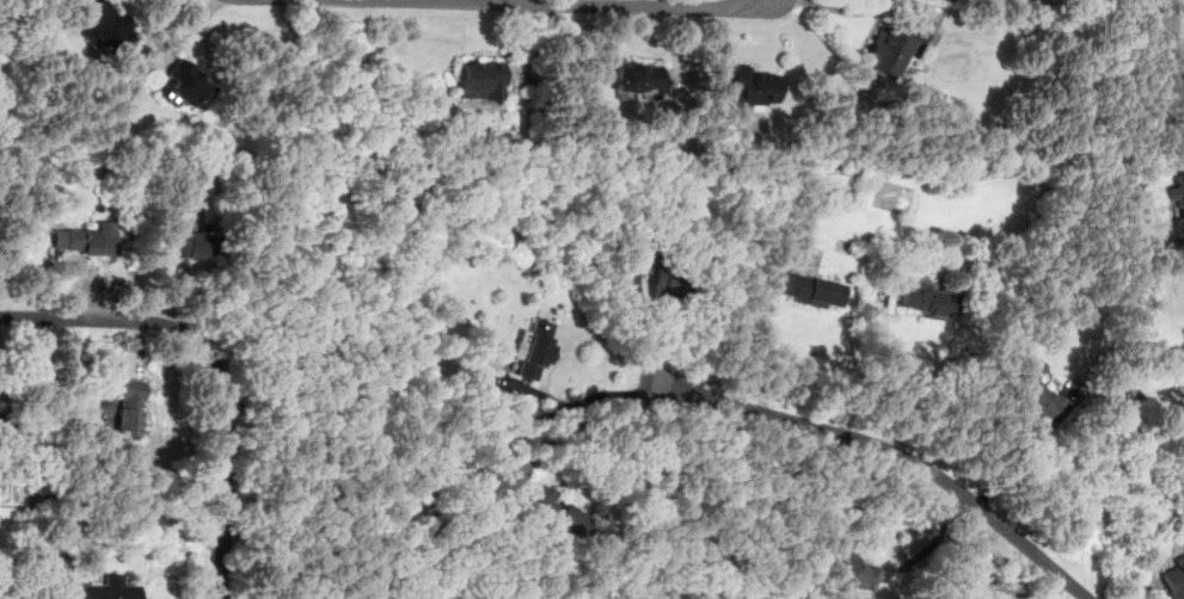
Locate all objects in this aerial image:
road: (566, 4)
road: (848, 10)
building: (103, 25)
building: (892, 47)
building: (637, 76)
building: (480, 80)
building: (750, 86)
building: (185, 87)
building: (1180, 205)
building: (87, 237)
building: (188, 243)
building: (658, 286)
building: (809, 289)
building: (926, 299)
road: (626, 320)
road: (645, 323)
road: (767, 341)
building: (533, 348)
road: (215, 368)
road: (890, 369)
building: (1035, 394)
road: (570, 406)
building: (108, 407)
building: (129, 408)
road: (888, 449)
road: (1017, 461)
building: (554, 512)
building: (852, 568)
building: (1173, 580)
building: (108, 588)
road: (60, 593)

